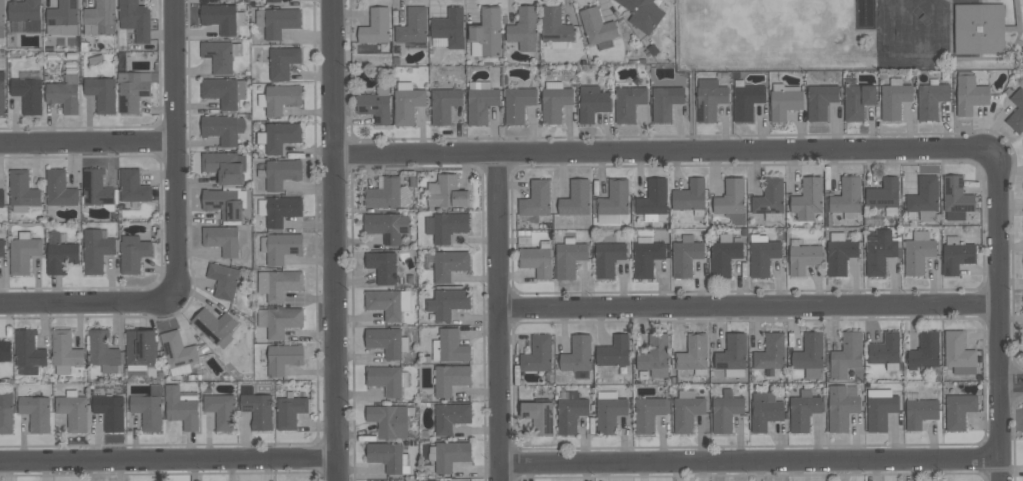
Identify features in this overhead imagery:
building: (272, 0)
building: (25, 13)
building: (642, 13)
building: (99, 17)
building: (221, 17)
building: (63, 18)
building: (2, 19)
building: (135, 19)
building: (276, 20)
building: (376, 26)
building: (413, 26)
building: (555, 27)
building: (523, 28)
building: (598, 28)
building: (979, 28)
building: (448, 29)
building: (486, 32)
building: (220, 54)
building: (283, 61)
building: (133, 89)
building: (28, 91)
building: (223, 91)
building: (2, 93)
building: (64, 93)
building: (102, 93)
building: (970, 93)
building: (279, 98)
building: (709, 98)
building: (894, 98)
building: (931, 99)
building: (555, 100)
building: (746, 100)
building: (784, 100)
building: (820, 100)
building: (857, 100)
building: (481, 101)
building: (407, 102)
building: (592, 102)
building: (628, 102)
building: (665, 102)
building: (518, 103)
building: (443, 104)
building: (375, 105)
building: (1016, 111)
building: (223, 128)
building: (278, 136)
road: (87, 141)
road: (174, 147)
road: (663, 152)
building: (224, 166)
building: (282, 172)
building: (133, 186)
building: (59, 188)
building: (98, 189)
building: (22, 191)
building: (447, 192)
building: (384, 193)
building: (884, 195)
building: (690, 196)
building: (1, 197)
building: (846, 197)
building: (575, 198)
building: (924, 198)
building: (956, 198)
building: (536, 199)
building: (652, 199)
building: (769, 199)
building: (807, 199)
building: (731, 200)
building: (613, 201)
building: (225, 202)
building: (279, 209)
building: (387, 226)
building: (446, 226)
building: (223, 239)
road: (333, 240)
building: (281, 246)
building: (1, 247)
building: (96, 249)
building: (879, 251)
building: (917, 252)
building: (133, 253)
building: (840, 253)
building: (23, 254)
building: (762, 254)
building: (685, 255)
building: (723, 255)
building: (956, 255)
building: (61, 256)
building: (569, 257)
building: (803, 257)
building: (608, 258)
building: (647, 258)
building: (537, 259)
building: (449, 264)
building: (382, 266)
building: (223, 280)
building: (278, 284)
road: (86, 302)
building: (447, 302)
building: (388, 303)
road: (351, 307)
road: (748, 307)
road: (998, 315)
road: (498, 317)
building: (279, 320)
building: (214, 326)
building: (387, 341)
building: (449, 346)
building: (28, 349)
building: (885, 350)
building: (5, 351)
building: (64, 351)
building: (140, 351)
building: (614, 351)
building: (924, 351)
building: (104, 352)
building: (177, 352)
building: (771, 352)
building: (958, 353)
building: (537, 354)
building: (577, 354)
building: (693, 354)
building: (810, 354)
building: (845, 355)
building: (655, 356)
building: (732, 356)
building: (281, 357)
building: (450, 378)
building: (387, 379)
road: (1010, 383)
building: (181, 406)
building: (841, 406)
building: (149, 407)
building: (257, 408)
building: (880, 408)
building: (6, 410)
building: (73, 410)
building: (221, 410)
building: (290, 410)
building: (686, 410)
building: (803, 410)
building: (958, 410)
building: (110, 411)
building: (570, 411)
building: (608, 411)
building: (725, 411)
building: (764, 411)
building: (35, 412)
building: (920, 412)
building: (648, 413)
building: (538, 415)
building: (450, 417)
building: (390, 420)
building: (448, 454)
building: (388, 457)
road: (168, 460)
road: (748, 461)

